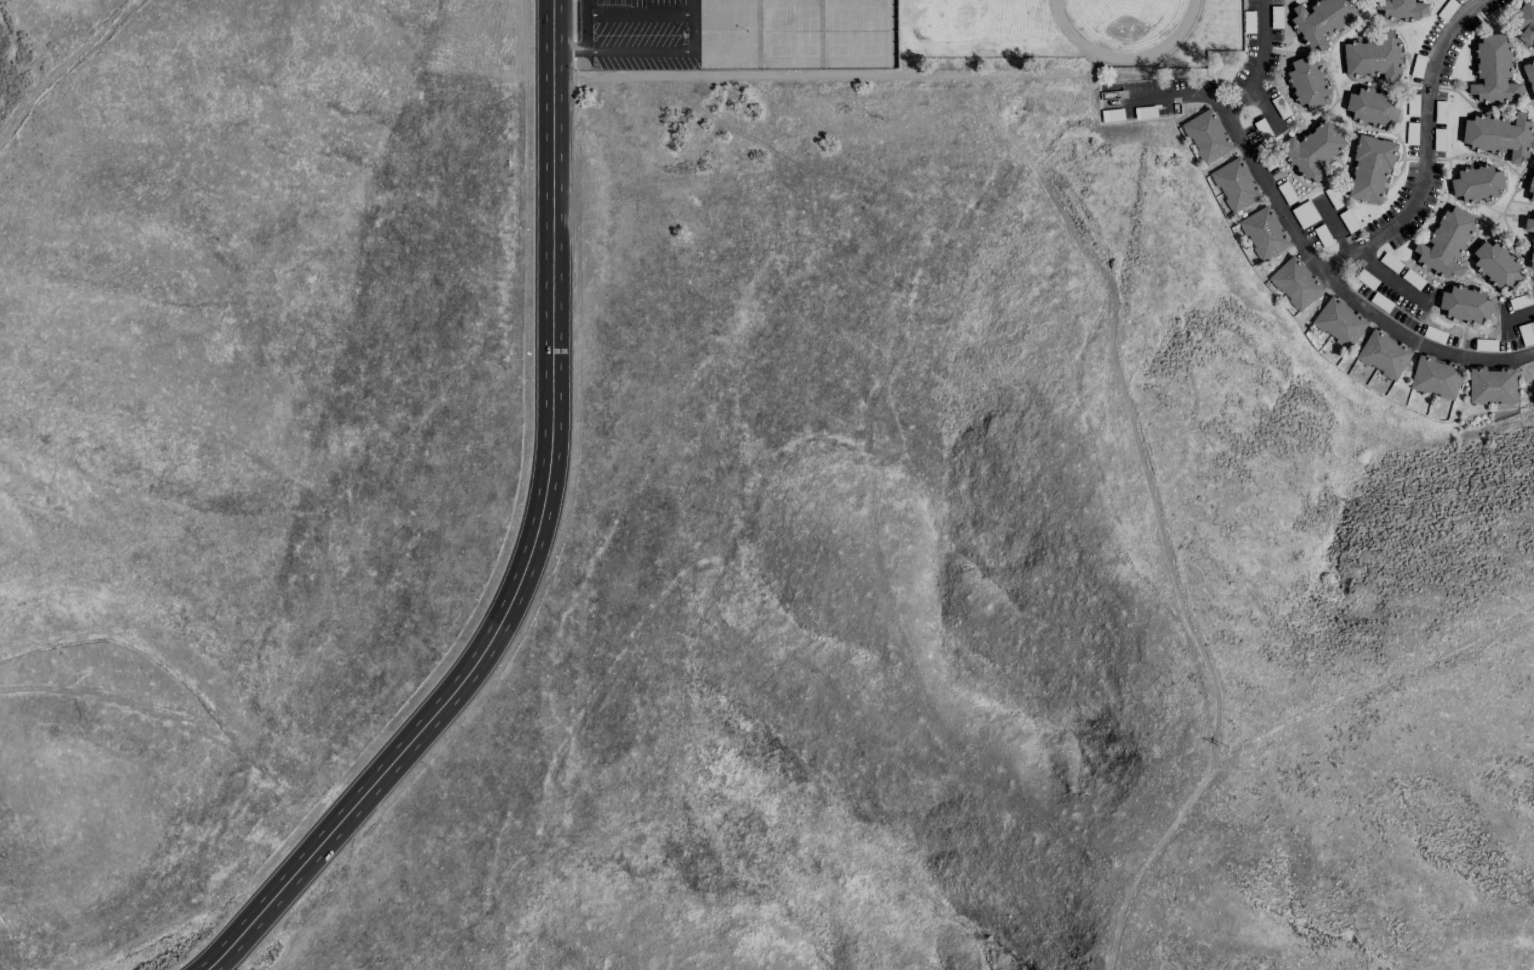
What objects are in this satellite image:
building: (1403, 8)
building: (1323, 20)
road: (693, 22)
building: (1525, 23)
road: (586, 24)
track: (1127, 24)
road: (644, 48)
road: (573, 49)
building: (1373, 56)
road: (1265, 60)
building: (1494, 69)
road: (68, 71)
building: (1530, 74)
building: (1308, 82)
building: (1373, 106)
building: (1206, 135)
building: (1499, 135)
building: (1314, 150)
road: (1430, 150)
building: (1370, 168)
building: (1477, 182)
building: (1235, 183)
building: (1532, 190)
building: (1529, 223)
road: (1333, 226)
road: (1306, 229)
building: (1263, 232)
building: (1446, 242)
building: (1532, 257)
building: (1496, 263)
road: (1387, 277)
building: (1295, 282)
building: (1465, 303)
road: (1111, 313)
road: (1522, 315)
building: (1339, 321)
building: (1384, 354)
building: (1436, 376)
building: (1492, 385)
road: (530, 539)

